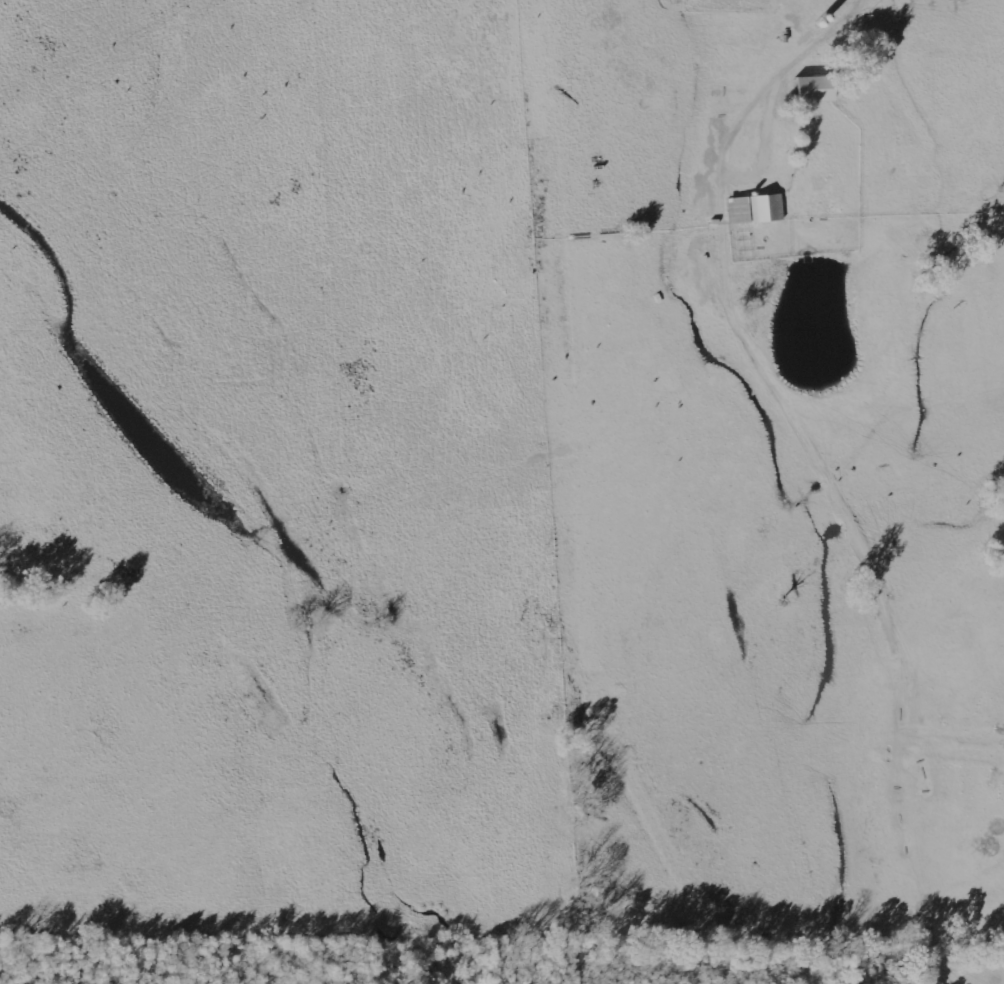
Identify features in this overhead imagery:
building: (816, 90)
building: (756, 209)

